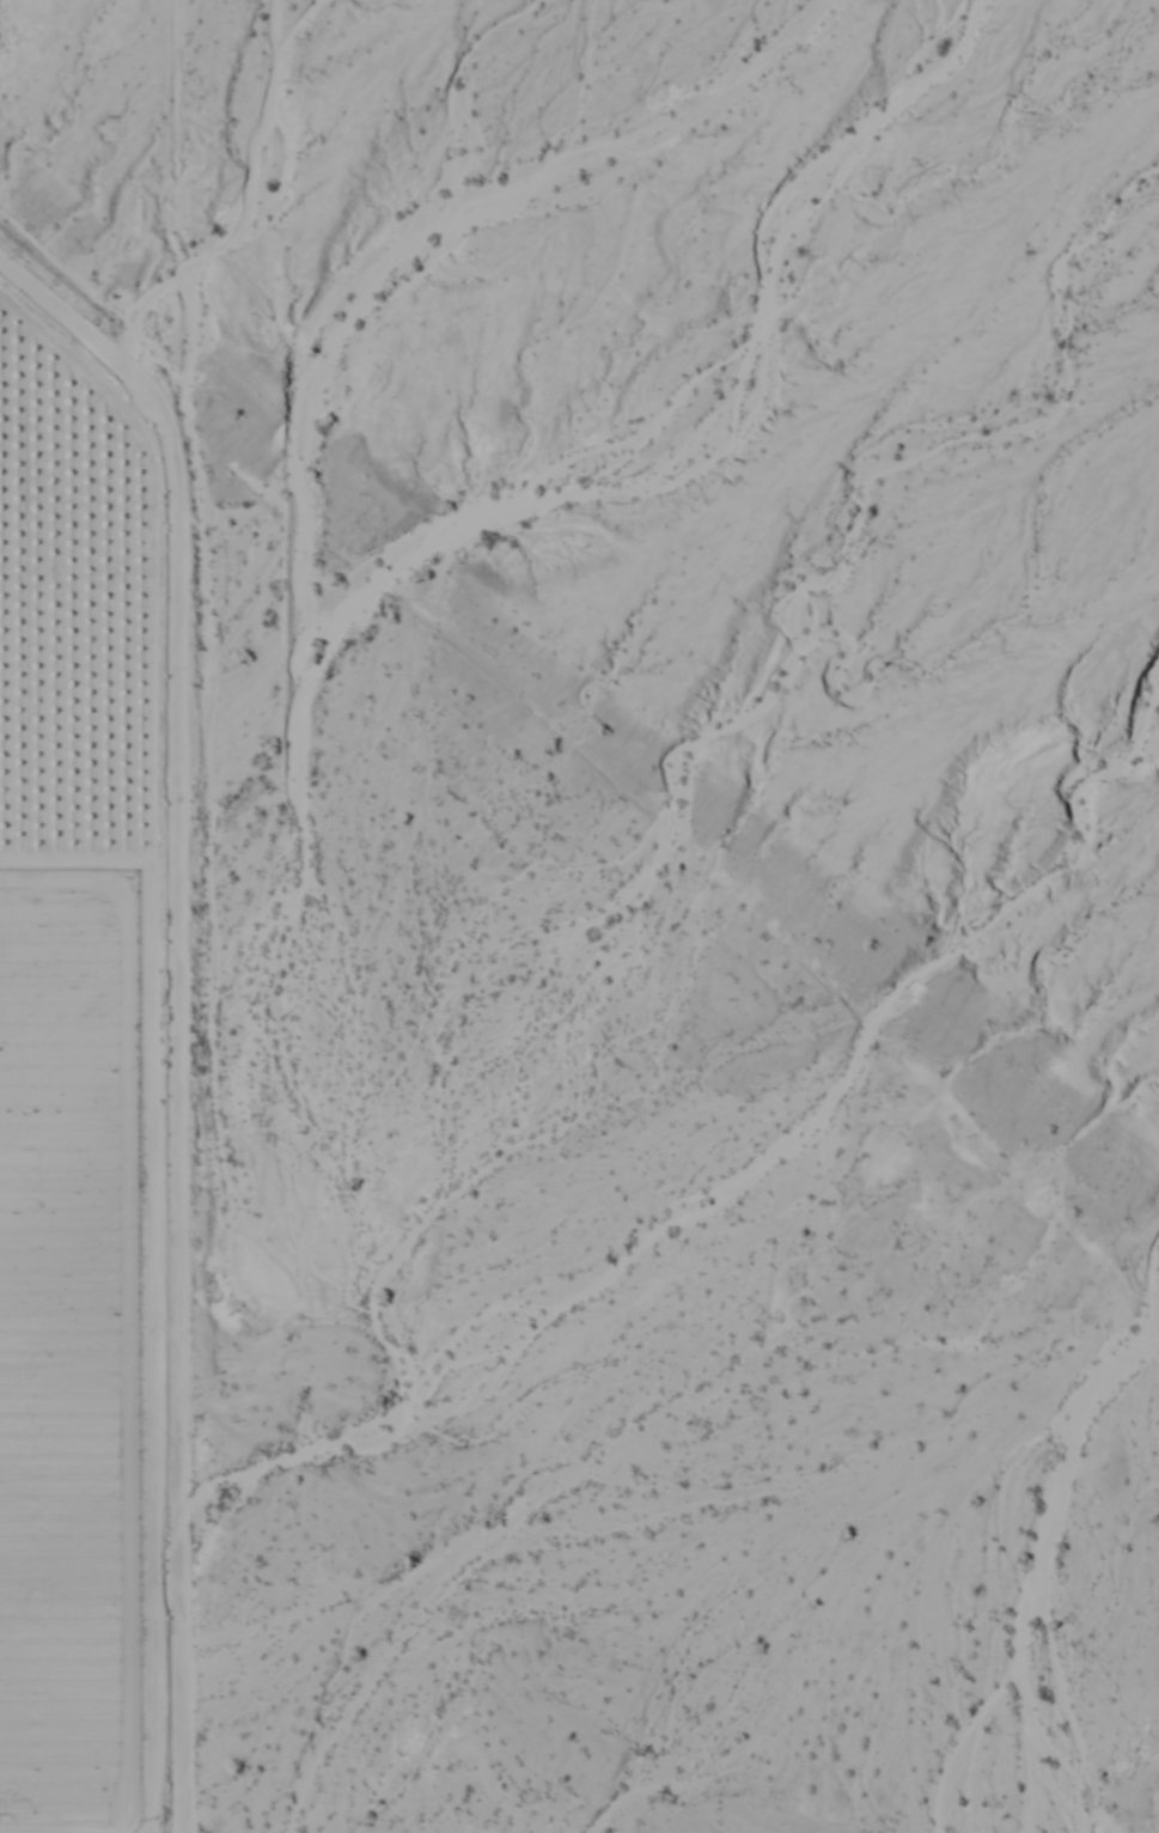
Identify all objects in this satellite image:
road: (157, 1019)

